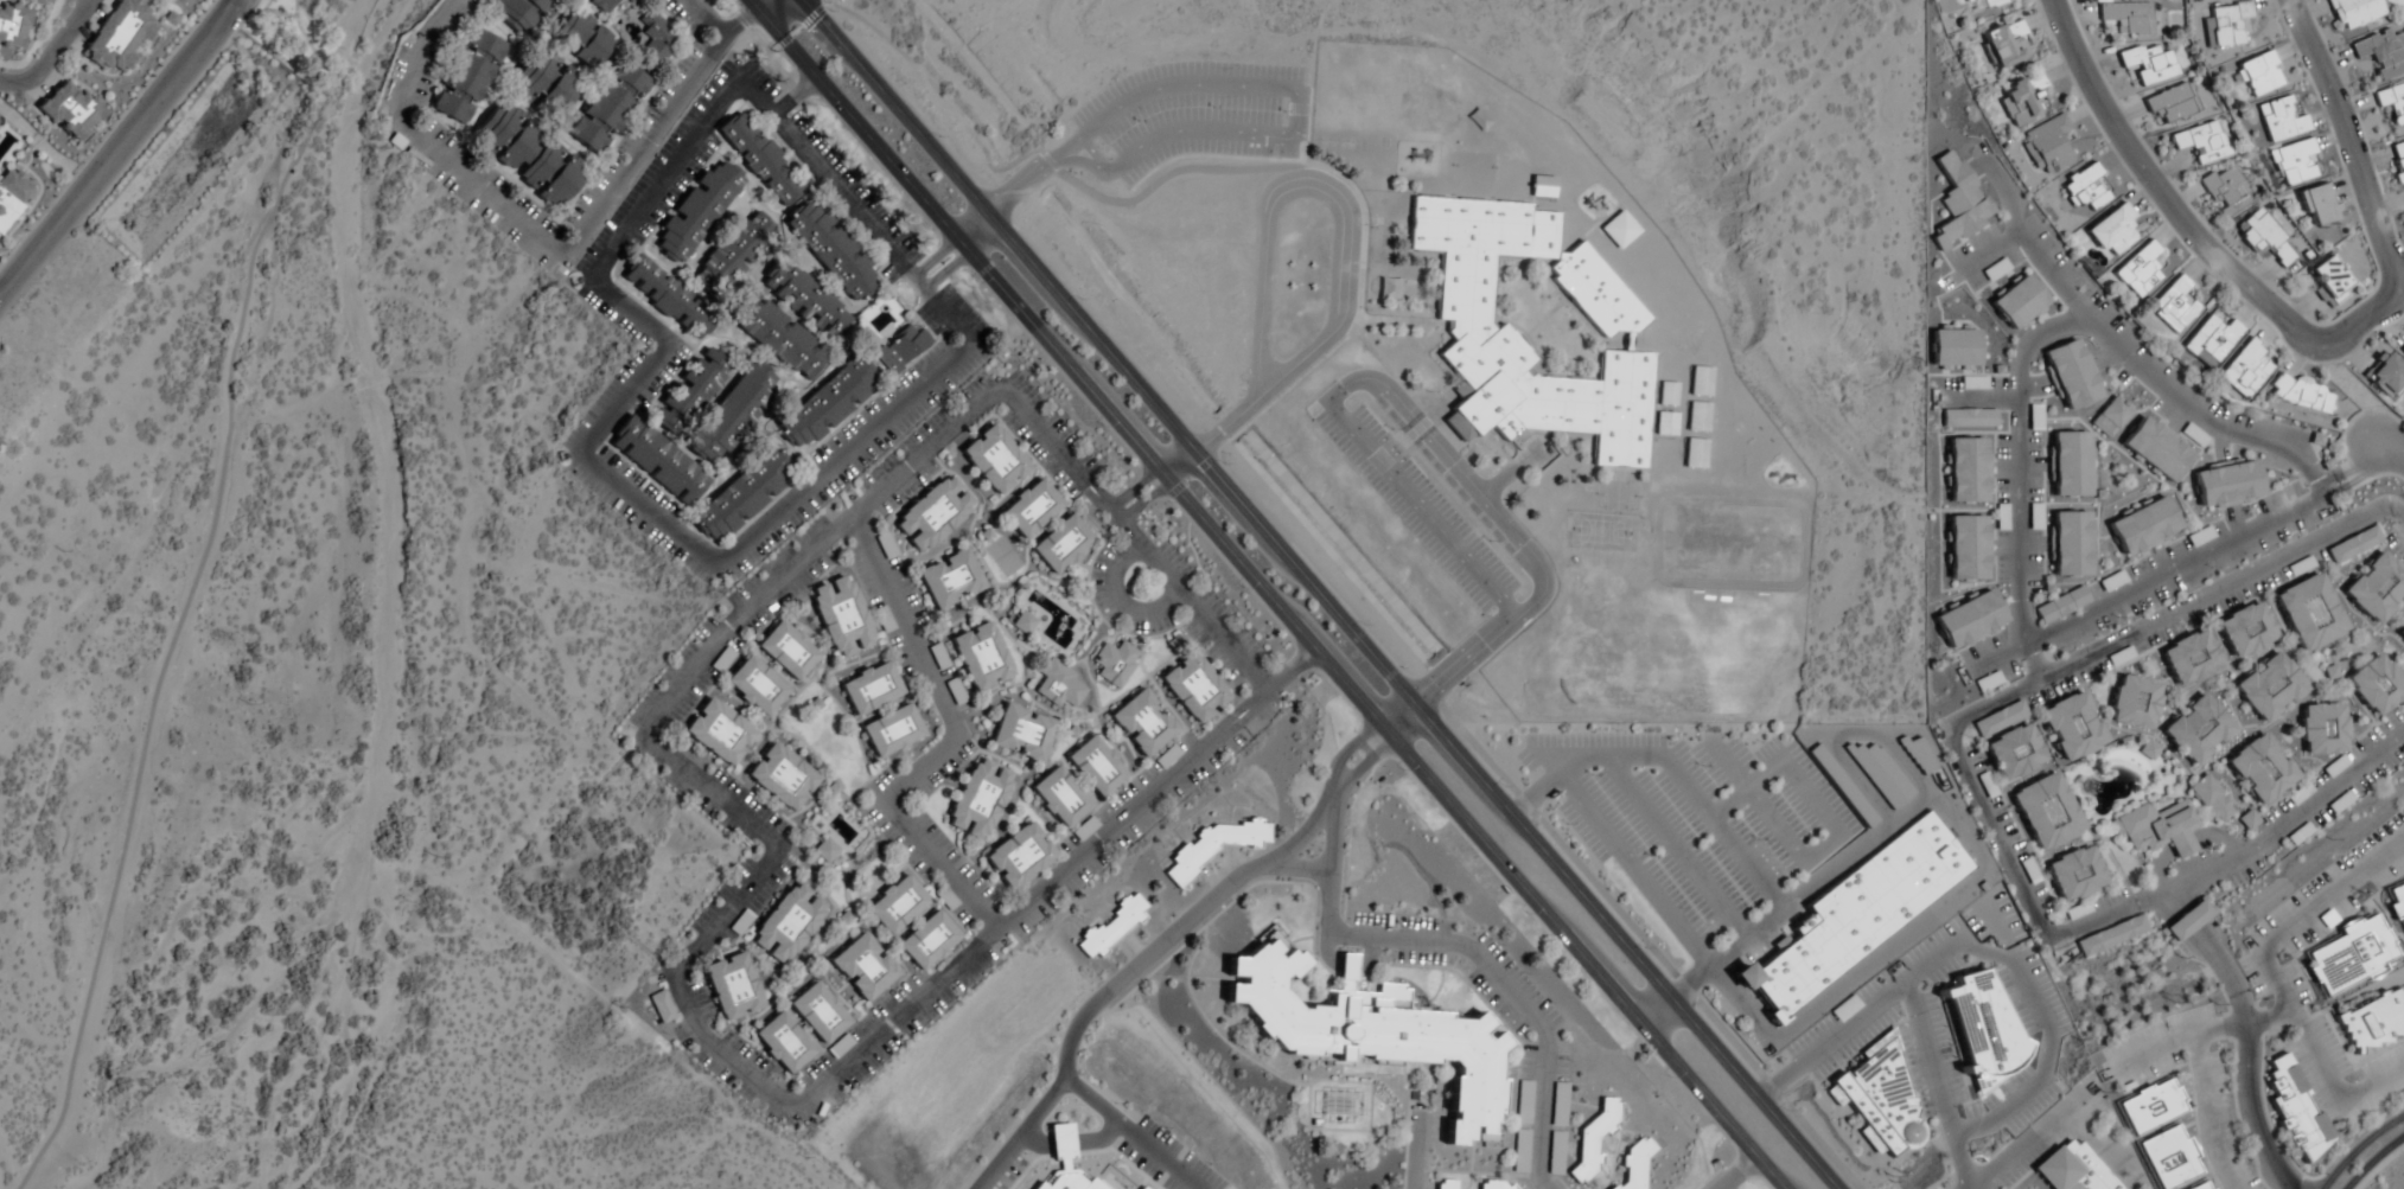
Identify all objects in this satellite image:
building: (1990, 4)
building: (601, 6)
road: (248, 11)
building: (524, 11)
road: (786, 12)
street lamp: (830, 12)
building: (2355, 12)
road: (281, 17)
building: (2129, 18)
road: (710, 19)
road: (746, 23)
traffic signals: (774, 24)
building: (12, 26)
building: (2226, 26)
building: (119, 37)
park: (306, 38)
building: (656, 38)
building: (584, 40)
building: (2007, 44)
street lamp: (2329, 49)
road: (51, 51)
building: (2381, 53)
building: (2149, 64)
building: (2259, 75)
building: (468, 77)
building: (547, 84)
building: (2023, 100)
building: (2392, 102)
building: (2172, 103)
building: (608, 108)
street lamp: (823, 108)
street lamp: (1210, 108)
road: (1296, 109)
building: (69, 110)
building: (2279, 121)
street lamp: (1134, 122)
street lamp: (939, 138)
building: (2202, 142)
building: (2048, 146)
road: (116, 148)
building: (528, 155)
building: (758, 160)
building: (2294, 162)
building: (2398, 162)
street lamp: (1072, 173)
road: (1319, 185)
street lamp: (2134, 185)
building: (1542, 187)
building: (2086, 188)
building: (2227, 191)
building: (2403, 193)
building: (13, 196)
road: (1005, 197)
building: (1959, 202)
road: (846, 203)
building: (2317, 205)
street lamp: (40, 212)
building: (697, 212)
street lamp: (1370, 228)
building: (1619, 231)
building: (2111, 231)
road: (531, 235)
building: (2264, 237)
road: (2022, 242)
road: (958, 248)
road: (955, 251)
building: (734, 254)
building: (831, 254)
road: (1984, 257)
building: (1995, 270)
building: (2138, 271)
building: (2330, 279)
street lamp: (976, 283)
building: (667, 298)
street lamp: (1080, 300)
building: (805, 302)
building: (2019, 303)
building: (2173, 306)
street lamp: (1364, 311)
building: (1533, 327)
building: (780, 339)
road: (2301, 340)
building: (2209, 341)
building: (901, 350)
building: (1955, 350)
building: (2403, 352)
building: (2244, 370)
building: (2071, 373)
building: (2385, 375)
building: (1701, 382)
building: (691, 390)
building: (2300, 394)
building: (1666, 395)
building: (827, 404)
building: (732, 416)
building: (1697, 417)
building: (2110, 417)
building: (1969, 420)
road: (1230, 422)
building: (1665, 424)
street lamp: (1102, 427)
street lamp: (1390, 429)
building: (2194, 436)
road: (1360, 441)
road: (581, 449)
building: (2156, 449)
road: (2390, 449)
building: (1695, 454)
building: (657, 460)
building: (993, 460)
building: (2071, 464)
street lamp: (1224, 465)
building: (1968, 469)
building: (2226, 484)
road: (1158, 486)
building: (741, 496)
street lamp: (1135, 497)
road: (2014, 507)
building: (1029, 509)
building: (933, 513)
street lamp: (2389, 523)
building: (2144, 526)
street lamp: (1487, 542)
building: (2071, 543)
building: (1061, 544)
building: (2353, 545)
building: (886, 546)
building: (1968, 548)
building: (2301, 567)
building: (950, 580)
building: (2111, 582)
building: (2376, 588)
street lamp: (1243, 589)
road: (1267, 595)
road: (1319, 595)
road: (185, 600)
building: (2061, 605)
road: (1120, 607)
building: (2309, 612)
building: (841, 618)
building: (884, 620)
building: (1970, 620)
building: (1022, 624)
street lamp: (1364, 626)
building: (2245, 629)
building: (2400, 633)
building: (787, 650)
building: (981, 657)
building: (938, 658)
building: (2189, 658)
building: (1112, 663)
building: (1058, 685)
building: (2376, 685)
building: (755, 686)
building: (871, 688)
building: (1193, 688)
building: (2270, 688)
building: (2134, 703)
building: (2000, 720)
building: (1142, 722)
building: (2072, 727)
building: (2198, 729)
building: (2322, 729)
building: (719, 731)
building: (892, 731)
street lamp: (1615, 731)
building: (1021, 734)
road: (1839, 735)
street lamp: (1761, 743)
building: (2149, 750)
road: (950, 752)
building: (2014, 752)
building: (1915, 753)
building: (1167, 757)
building: (1096, 766)
street lamp: (1700, 767)
building: (2334, 767)
building: (2262, 769)
street lamp: (1401, 771)
building: (1877, 772)
building: (782, 776)
street lamp: (1590, 776)
road: (1791, 780)
building: (1841, 785)
street lamp: (1505, 788)
road: (1972, 790)
building: (2300, 794)
road: (1535, 795)
building: (1059, 797)
building: (978, 799)
building: (2212, 800)
road: (1756, 801)
building: (2339, 804)
building: (2046, 812)
street lamp: (1564, 825)
building: (2157, 829)
building: (1085, 830)
street lamp: (1812, 838)
street lamp: (1756, 840)
building: (1212, 848)
road: (1673, 849)
building: (824, 851)
building: (1019, 856)
street lamp: (1650, 857)
road: (1290, 867)
building: (2029, 872)
building: (2074, 874)
road: (1818, 881)
building: (2396, 901)
building: (895, 907)
building: (2077, 912)
building: (1856, 913)
road: (2307, 913)
building: (2186, 921)
building: (787, 923)
road: (1177, 925)
building: (1111, 928)
building: (2110, 937)
building: (927, 941)
road: (1414, 948)
street lamp: (1646, 950)
building: (2348, 954)
road: (2000, 960)
building: (862, 970)
building: (732, 986)
power tower: (2174, 997)
road: (691, 1001)
building: (661, 1006)
building: (1844, 1008)
building: (817, 1014)
road: (2265, 1016)
building: (2373, 1021)
building: (1987, 1025)
building: (1372, 1033)
building: (783, 1043)
road: (2153, 1050)
road: (1930, 1059)
road: (2250, 1062)
road: (2329, 1085)
road: (2199, 1087)
building: (1879, 1099)
building: (1524, 1102)
building: (2150, 1104)
building: (1558, 1105)
building: (2294, 1107)
road: (1019, 1133)
road: (1130, 1133)
road: (2019, 1139)
building: (1594, 1140)
road: (2364, 1151)
road: (1409, 1153)
building: (1556, 1153)
building: (2168, 1156)
road: (2376, 1162)
building: (1634, 1165)
building: (2073, 1168)
road: (1736, 1172)
street lamp: (2317, 1175)
street lamp: (1950, 1183)
building: (1446, 1184)
building: (1497, 1185)
building: (2198, 1185)
road: (1965, 1187)
building: (2209, 1188)

